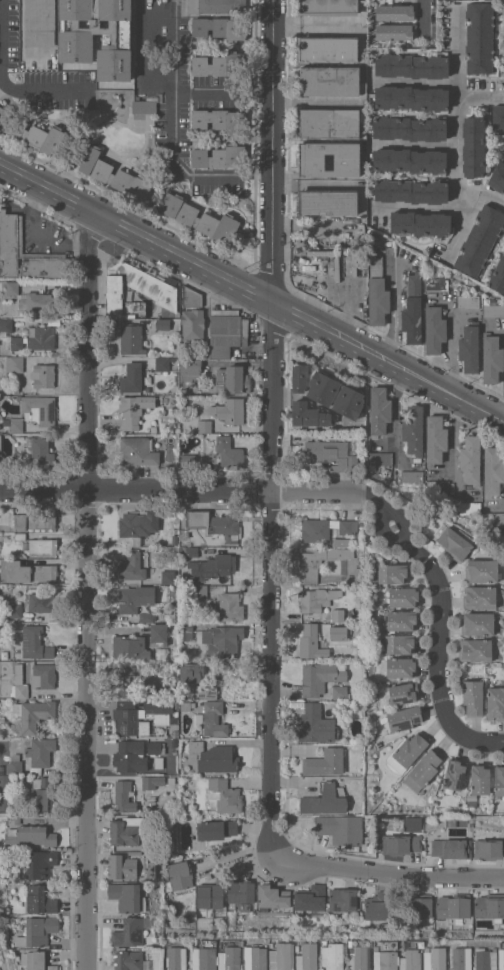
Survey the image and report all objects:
building: (216, 6)
building: (328, 7)
building: (394, 12)
road: (428, 16)
building: (40, 22)
building: (220, 27)
building: (394, 31)
building: (479, 37)
building: (76, 38)
building: (503, 41)
building: (327, 49)
road: (454, 49)
building: (219, 64)
building: (412, 66)
road: (7, 81)
building: (330, 81)
road: (223, 92)
building: (412, 98)
building: (145, 105)
building: (498, 118)
building: (220, 120)
building: (330, 122)
building: (410, 128)
building: (33, 132)
road: (174, 132)
road: (457, 143)
building: (473, 146)
building: (220, 156)
building: (410, 160)
building: (347, 162)
building: (111, 172)
building: (498, 176)
building: (411, 191)
building: (327, 201)
road: (421, 207)
building: (199, 218)
building: (420, 223)
building: (11, 233)
building: (480, 240)
building: (498, 275)
building: (436, 283)
building: (0, 284)
building: (150, 285)
road: (254, 290)
building: (377, 292)
building: (191, 297)
building: (31, 298)
building: (468, 301)
building: (413, 309)
building: (493, 310)
building: (163, 324)
building: (6, 325)
building: (192, 325)
building: (435, 329)
building: (227, 332)
building: (41, 337)
building: (131, 339)
building: (16, 343)
building: (469, 348)
building: (207, 350)
building: (492, 358)
building: (14, 363)
building: (162, 364)
building: (189, 369)
building: (43, 375)
building: (132, 377)
building: (300, 377)
building: (232, 379)
building: (323, 387)
building: (349, 401)
building: (39, 409)
building: (134, 409)
building: (229, 410)
building: (380, 410)
building: (175, 411)
building: (308, 414)
building: (0, 416)
road: (274, 418)
building: (13, 424)
building: (204, 425)
building: (413, 429)
building: (435, 439)
building: (0, 441)
building: (39, 450)
building: (138, 450)
building: (229, 453)
building: (330, 453)
building: (381, 458)
building: (188, 459)
building: (471, 459)
building: (3, 460)
building: (493, 471)
building: (412, 476)
building: (437, 486)
road: (177, 489)
building: (469, 507)
building: (494, 518)
building: (20, 521)
building: (42, 521)
building: (212, 521)
building: (139, 523)
building: (361, 523)
building: (348, 526)
building: (316, 530)
building: (20, 536)
building: (133, 541)
building: (342, 542)
building: (453, 542)
building: (41, 546)
building: (191, 551)
building: (358, 551)
building: (319, 563)
building: (361, 564)
building: (132, 566)
building: (212, 567)
building: (481, 570)
building: (26, 571)
building: (392, 573)
building: (167, 576)
building: (356, 576)
road: (87, 590)
building: (200, 592)
building: (403, 596)
building: (480, 597)
building: (135, 598)
building: (314, 600)
building: (41, 602)
building: (230, 607)
building: (14, 610)
building: (338, 614)
building: (143, 617)
building: (355, 618)
building: (40, 619)
road: (443, 619)
building: (401, 620)
building: (478, 624)
building: (186, 631)
building: (159, 633)
building: (339, 633)
building: (221, 639)
building: (35, 642)
building: (311, 642)
building: (399, 643)
building: (130, 647)
building: (475, 650)
building: (400, 667)
building: (127, 670)
building: (191, 672)
building: (19, 674)
building: (43, 676)
building: (321, 677)
building: (151, 686)
building: (19, 691)
building: (205, 692)
building: (340, 692)
building: (400, 693)
building: (473, 697)
building: (495, 703)
building: (185, 706)
building: (159, 710)
building: (33, 714)
building: (405, 718)
building: (129, 719)
building: (214, 719)
building: (316, 724)
building: (174, 733)
building: (174, 742)
building: (156, 748)
building: (174, 751)
building: (408, 751)
building: (40, 753)
building: (130, 756)
building: (214, 757)
building: (159, 762)
building: (326, 762)
building: (13, 768)
building: (2, 770)
building: (423, 770)
building: (454, 774)
building: (481, 779)
building: (499, 779)
building: (152, 781)
building: (42, 793)
building: (5, 794)
building: (223, 795)
building: (124, 796)
building: (325, 799)
building: (435, 802)
building: (15, 818)
building: (340, 828)
building: (128, 830)
building: (211, 830)
building: (31, 835)
building: (399, 844)
building: (451, 848)
building: (489, 849)
building: (39, 864)
building: (122, 866)
road: (381, 870)
building: (178, 876)
building: (240, 891)
building: (210, 896)
building: (127, 897)
building: (272, 897)
building: (310, 898)
building: (38, 899)
building: (343, 899)
building: (415, 906)
building: (490, 906)
building: (377, 907)
building: (453, 907)
building: (37, 931)
building: (131, 931)
building: (350, 943)
building: (297, 948)
building: (332, 956)
building: (282, 957)
building: (307, 957)
building: (177, 958)
building: (205, 958)
building: (359, 958)
building: (462, 958)
building: (230, 959)
building: (255, 959)
building: (385, 959)
building: (435, 959)
building: (486, 959)
building: (35, 960)
building: (411, 960)
building: (131, 961)
building: (502, 967)

